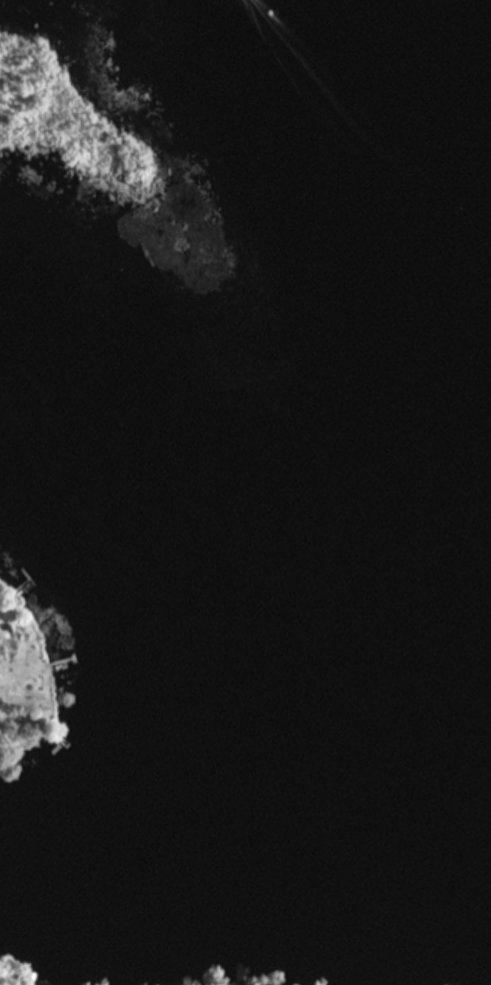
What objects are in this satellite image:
river: (473, 48)

